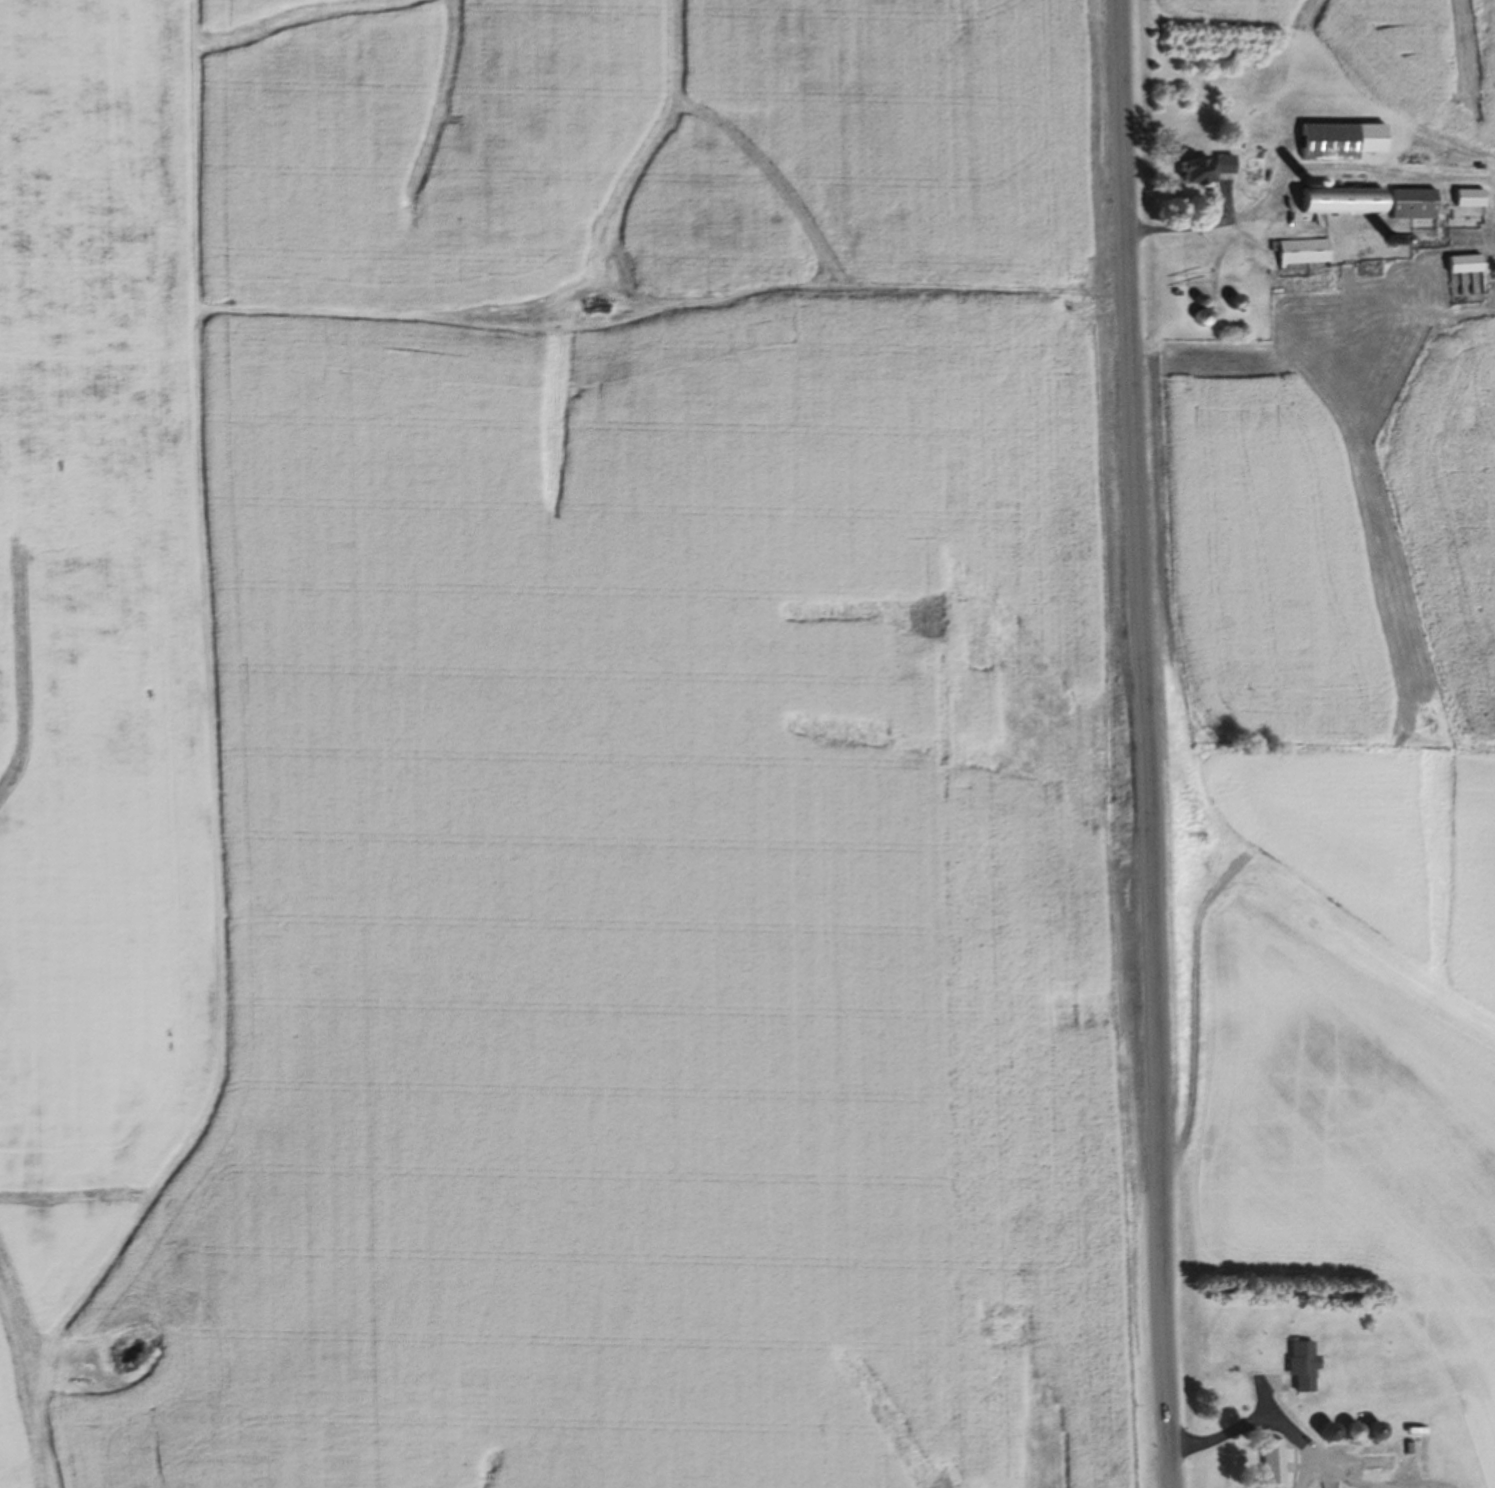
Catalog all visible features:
road: (1145, 744)

